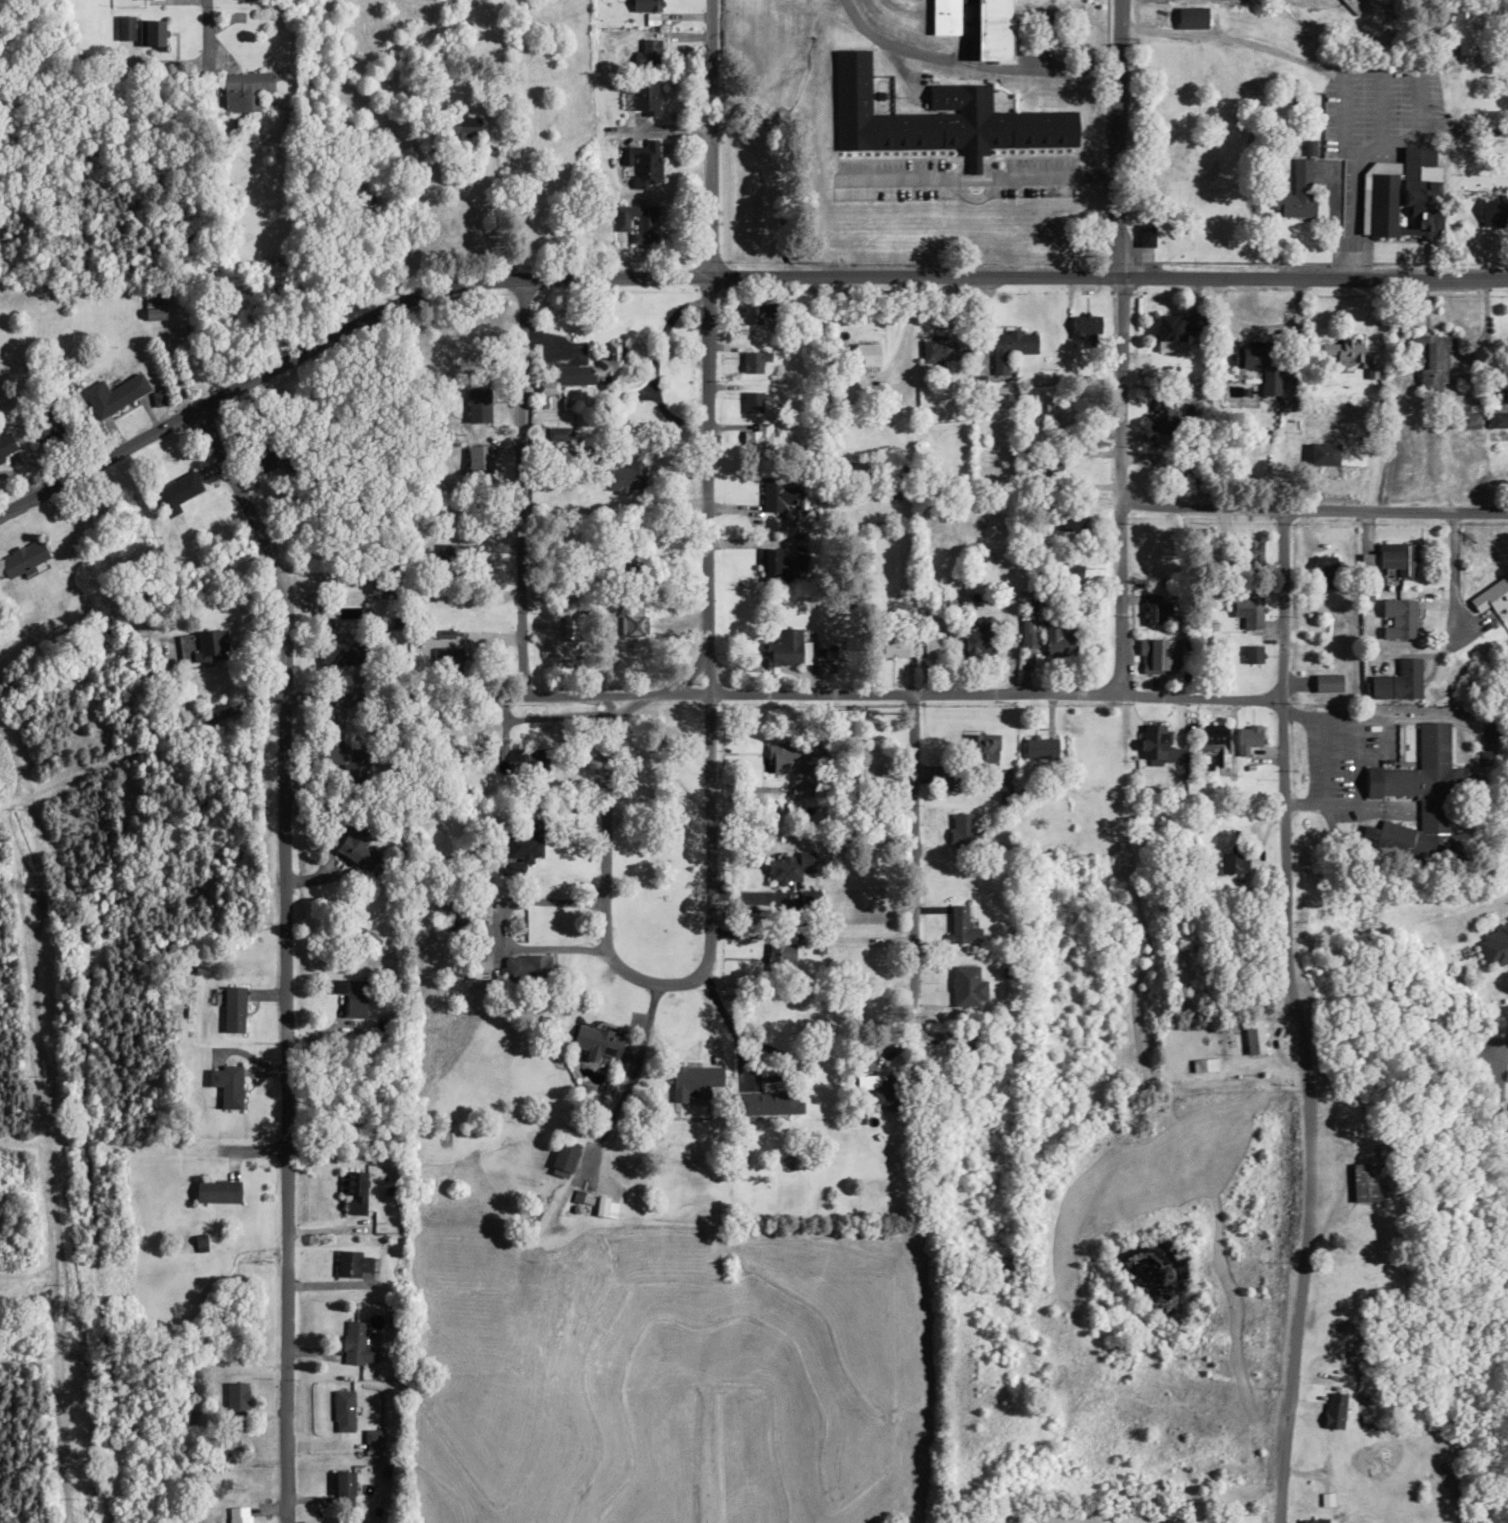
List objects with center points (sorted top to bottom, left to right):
building: (645, 5)
building: (944, 16)
building: (1191, 18)
road: (205, 19)
building: (124, 27)
building: (993, 28)
building: (1465, 30)
building: (149, 33)
building: (649, 51)
building: (243, 91)
building: (939, 118)
building: (462, 123)
road: (709, 138)
building: (648, 162)
building: (1297, 192)
building: (1404, 195)
building: (1493, 206)
building: (636, 223)
building: (1145, 235)
road: (726, 277)
building: (154, 313)
building: (754, 315)
building: (1085, 326)
building: (1169, 327)
building: (1011, 347)
road: (1120, 350)
building: (942, 351)
building: (1341, 351)
building: (866, 355)
building: (755, 361)
building: (1260, 362)
building: (1432, 362)
building: (593, 371)
building: (998, 393)
building: (112, 395)
building: (752, 402)
building: (1059, 415)
building: (1165, 415)
building: (1497, 420)
building: (1468, 421)
building: (46, 428)
building: (5, 448)
building: (1342, 453)
building: (261, 461)
building: (478, 465)
building: (1053, 467)
building: (625, 477)
building: (176, 493)
road: (516, 495)
building: (776, 495)
road: (1312, 519)
building: (1069, 520)
building: (1249, 555)
building: (21, 558)
building: (1396, 559)
building: (769, 567)
building: (796, 568)
building: (1326, 571)
building: (386, 584)
road: (1506, 596)
building: (1491, 597)
building: (443, 612)
building: (1156, 613)
building: (1249, 613)
building: (1398, 620)
road: (709, 621)
building: (1027, 634)
building: (1058, 640)
building: (978, 641)
building: (210, 645)
building: (560, 646)
building: (897, 647)
building: (788, 648)
building: (931, 649)
building: (340, 651)
building: (1252, 654)
building: (1159, 656)
building: (1398, 681)
road: (780, 700)
building: (1490, 731)
building: (1248, 738)
building: (1214, 743)
building: (1158, 745)
building: (1040, 747)
building: (981, 752)
building: (340, 755)
building: (525, 760)
building: (792, 765)
building: (1424, 783)
building: (964, 835)
building: (524, 843)
building: (356, 844)
building: (1231, 863)
road: (912, 869)
road: (118, 870)
road: (606, 886)
building: (444, 914)
building: (962, 931)
building: (1493, 946)
building: (781, 952)
road: (285, 957)
building: (525, 966)
building: (351, 995)
building: (233, 1009)
road: (1294, 1021)
building: (1255, 1037)
building: (596, 1042)
building: (1204, 1065)
building: (693, 1081)
building: (226, 1084)
building: (884, 1091)
road: (1494, 1098)
building: (770, 1102)
building: (564, 1157)
building: (1364, 1181)
building: (588, 1183)
road: (195, 1190)
building: (216, 1190)
building: (353, 1190)
building: (351, 1263)
building: (1351, 1273)
building: (356, 1344)
building: (235, 1399)
building: (1334, 1409)
building: (343, 1410)
building: (371, 1435)
building: (343, 1483)
building: (239, 1514)
building: (1311, 1521)

